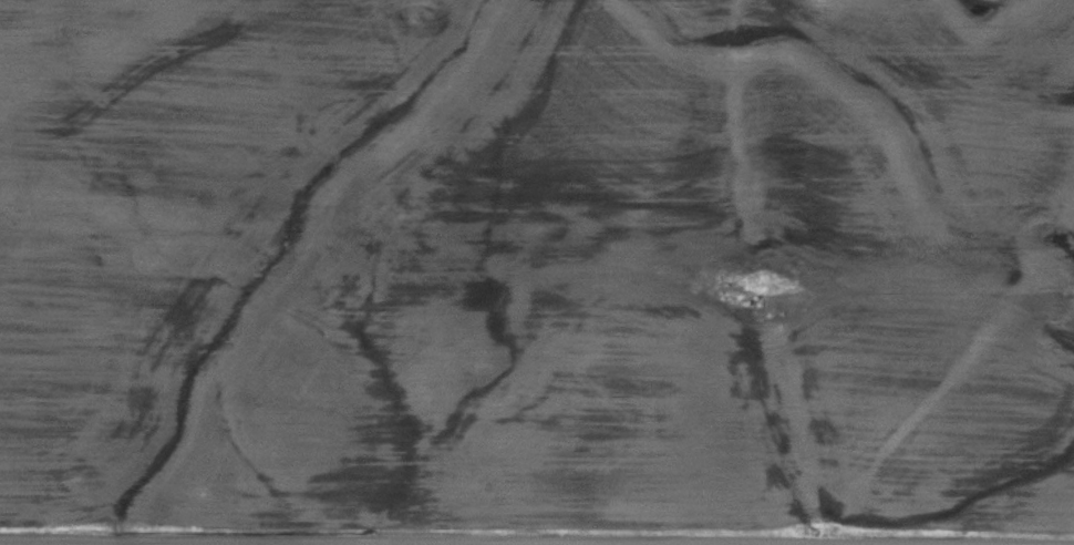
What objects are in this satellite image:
road: (358, 543)

